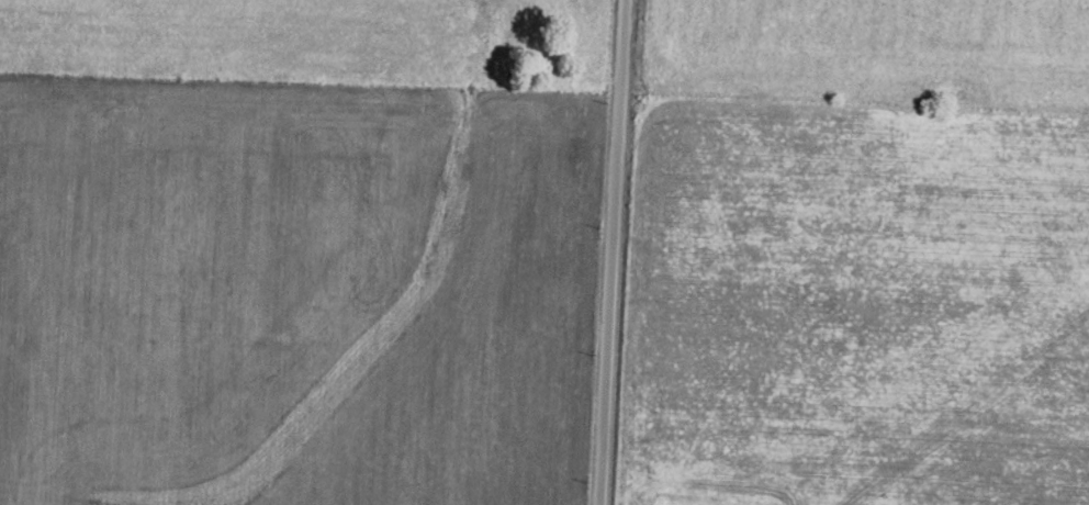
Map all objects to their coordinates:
road: (610, 251)

